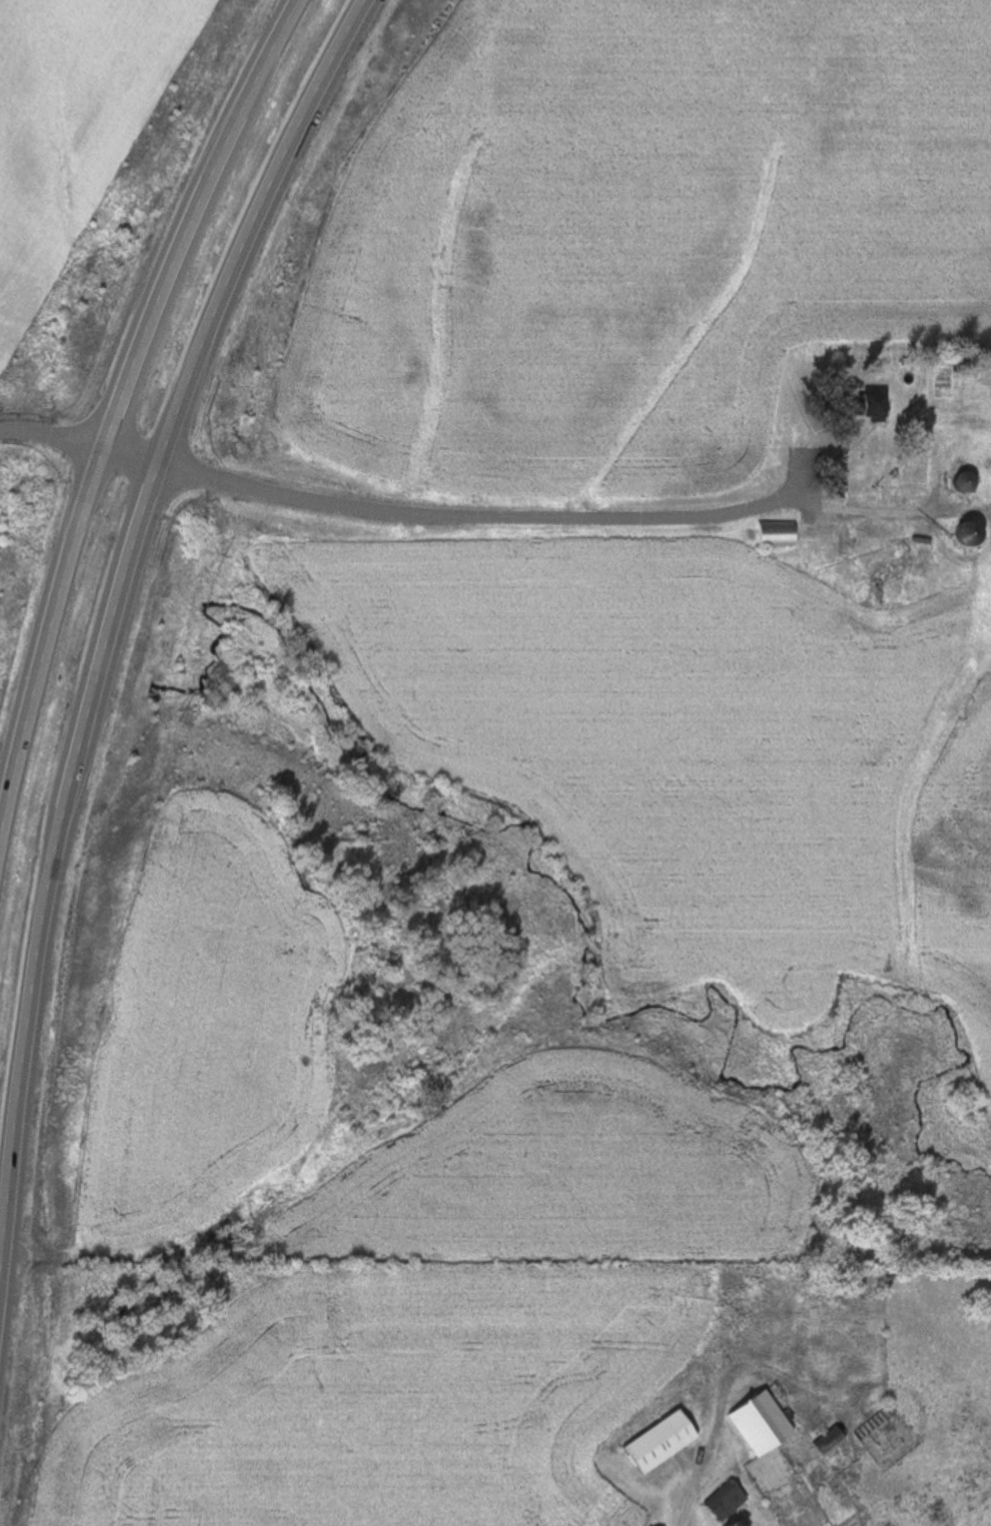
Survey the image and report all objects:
road: (119, 397)
building: (876, 406)
building: (971, 484)
road: (389, 513)
road: (875, 517)
building: (778, 535)
building: (864, 604)
road: (108, 624)
building: (763, 1424)
building: (879, 1425)
building: (664, 1444)
building: (842, 1452)
building: (729, 1501)

